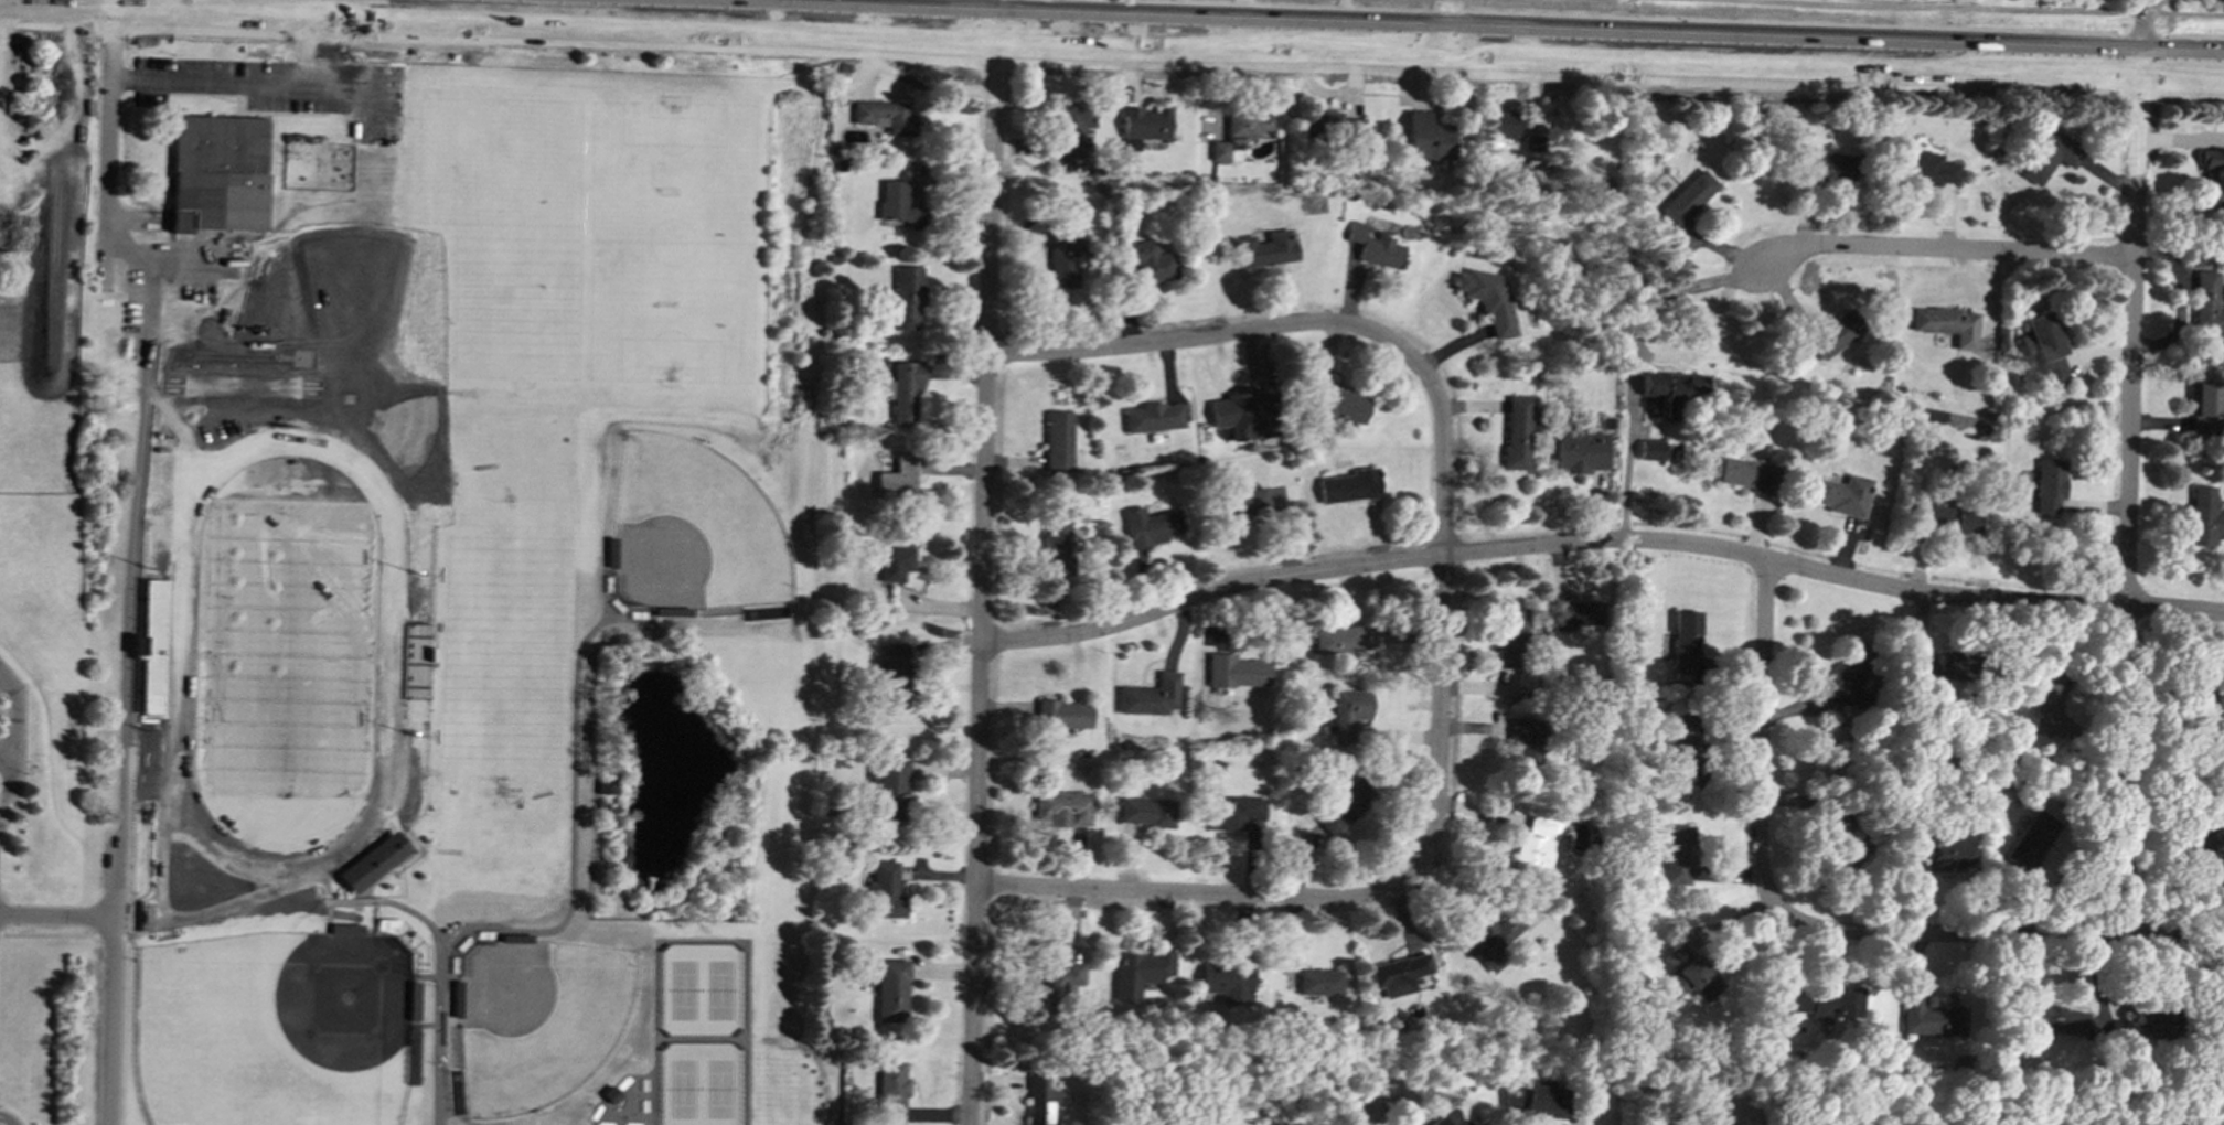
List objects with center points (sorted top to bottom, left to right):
road: (589, 0)
road: (1059, 0)
road: (575, 1)
road: (1915, 6)
road: (311, 7)
road: (958, 7)
road: (1178, 7)
road: (1445, 7)
road: (1243, 8)
road: (1384, 14)
park: (1946, 17)
road: (2143, 19)
road: (54, 29)
road: (1111, 43)
road: (1166, 67)
road: (260, 81)
parking lot: (288, 88)
building: (884, 116)
building: (1503, 124)
building: (1143, 125)
building: (1333, 125)
building: (1072, 127)
building: (1239, 132)
building: (1425, 137)
road: (109, 140)
building: (1532, 142)
building: (2050, 154)
building: (1828, 164)
building: (1926, 169)
building: (220, 173)
building: (2214, 173)
building: (1688, 197)
building: (898, 204)
park: (499, 237)
park: (673, 240)
building: (1375, 246)
building: (1265, 248)
road: (1942, 250)
building: (1063, 254)
building: (1146, 260)
building: (907, 297)
building: (1487, 299)
building: (2206, 306)
building: (1947, 324)
building: (1836, 332)
road: (1193, 340)
building: (2045, 347)
road: (1633, 357)
building: (904, 388)
building: (1670, 390)
building: (1337, 404)
building: (2206, 408)
building: (1242, 415)
building: (1153, 417)
building: (1517, 432)
building: (1058, 441)
building: (1650, 449)
building: (1581, 450)
building: (1747, 474)
building: (897, 478)
building: (2050, 478)
building: (1349, 486)
track: (186, 488)
road: (2128, 490)
building: (1841, 494)
building: (1245, 502)
building: (2203, 516)
building: (1946, 518)
building: (1151, 526)
park: (695, 528)
road: (1601, 540)
building: (1055, 545)
building: (612, 551)
road: (132, 558)
building: (895, 562)
road: (981, 568)
building: (673, 611)
park: (766, 611)
building: (1575, 613)
road: (1441, 614)
building: (1511, 637)
building: (1344, 639)
park: (505, 640)
building: (1686, 640)
building: (156, 645)
park: (285, 651)
track: (286, 652)
building: (415, 661)
road: (688, 665)
building: (1938, 665)
building: (1238, 671)
building: (892, 676)
building: (1850, 676)
building: (1152, 696)
building: (2045, 699)
road: (403, 709)
parking lot: (2, 710)
building: (1062, 714)
building: (1346, 714)
road: (142, 715)
road: (14, 738)
building: (1525, 739)
building: (1683, 742)
road: (1760, 742)
road: (7, 743)
road: (400, 773)
building: (607, 783)
building: (891, 789)
building: (1345, 805)
building: (1062, 807)
track: (178, 808)
building: (1147, 811)
building: (1233, 813)
road: (573, 822)
road: (394, 826)
road: (127, 843)
building: (1535, 845)
building: (2031, 845)
building: (1937, 851)
building: (1678, 853)
road: (178, 858)
building: (374, 861)
road: (328, 869)
road: (651, 877)
road: (650, 890)
building: (885, 890)
road: (1186, 894)
road: (285, 899)
road: (607, 900)
road: (174, 903)
road: (646, 908)
road: (58, 912)
road: (329, 917)
road: (375, 917)
road: (602, 923)
building: (346, 928)
road: (600, 930)
road: (62, 935)
building: (516, 936)
road: (2001, 936)
building: (1488, 939)
building: (404, 940)
road: (702, 940)
building: (1138, 972)
building: (1399, 974)
building: (1688, 974)
road: (424, 975)
building: (1058, 981)
building: (1228, 982)
building: (1319, 982)
park: (719, 988)
park: (683, 989)
building: (890, 989)
building: (457, 998)
building: (415, 999)
building: (1816, 1000)
building: (1929, 1017)
building: (2102, 1018)
road: (113, 1019)
park: (538, 1019)
building: (2054, 1019)
building: (2149, 1019)
road: (430, 1024)
park: (271, 1029)
park: (414, 1051)
park: (683, 1087)
park: (720, 1087)
park: (457, 1090)
building: (890, 1092)
building: (612, 1093)
building: (1039, 1099)
building: (1535, 1099)
road: (7, 1119)
building: (1440, 1122)

